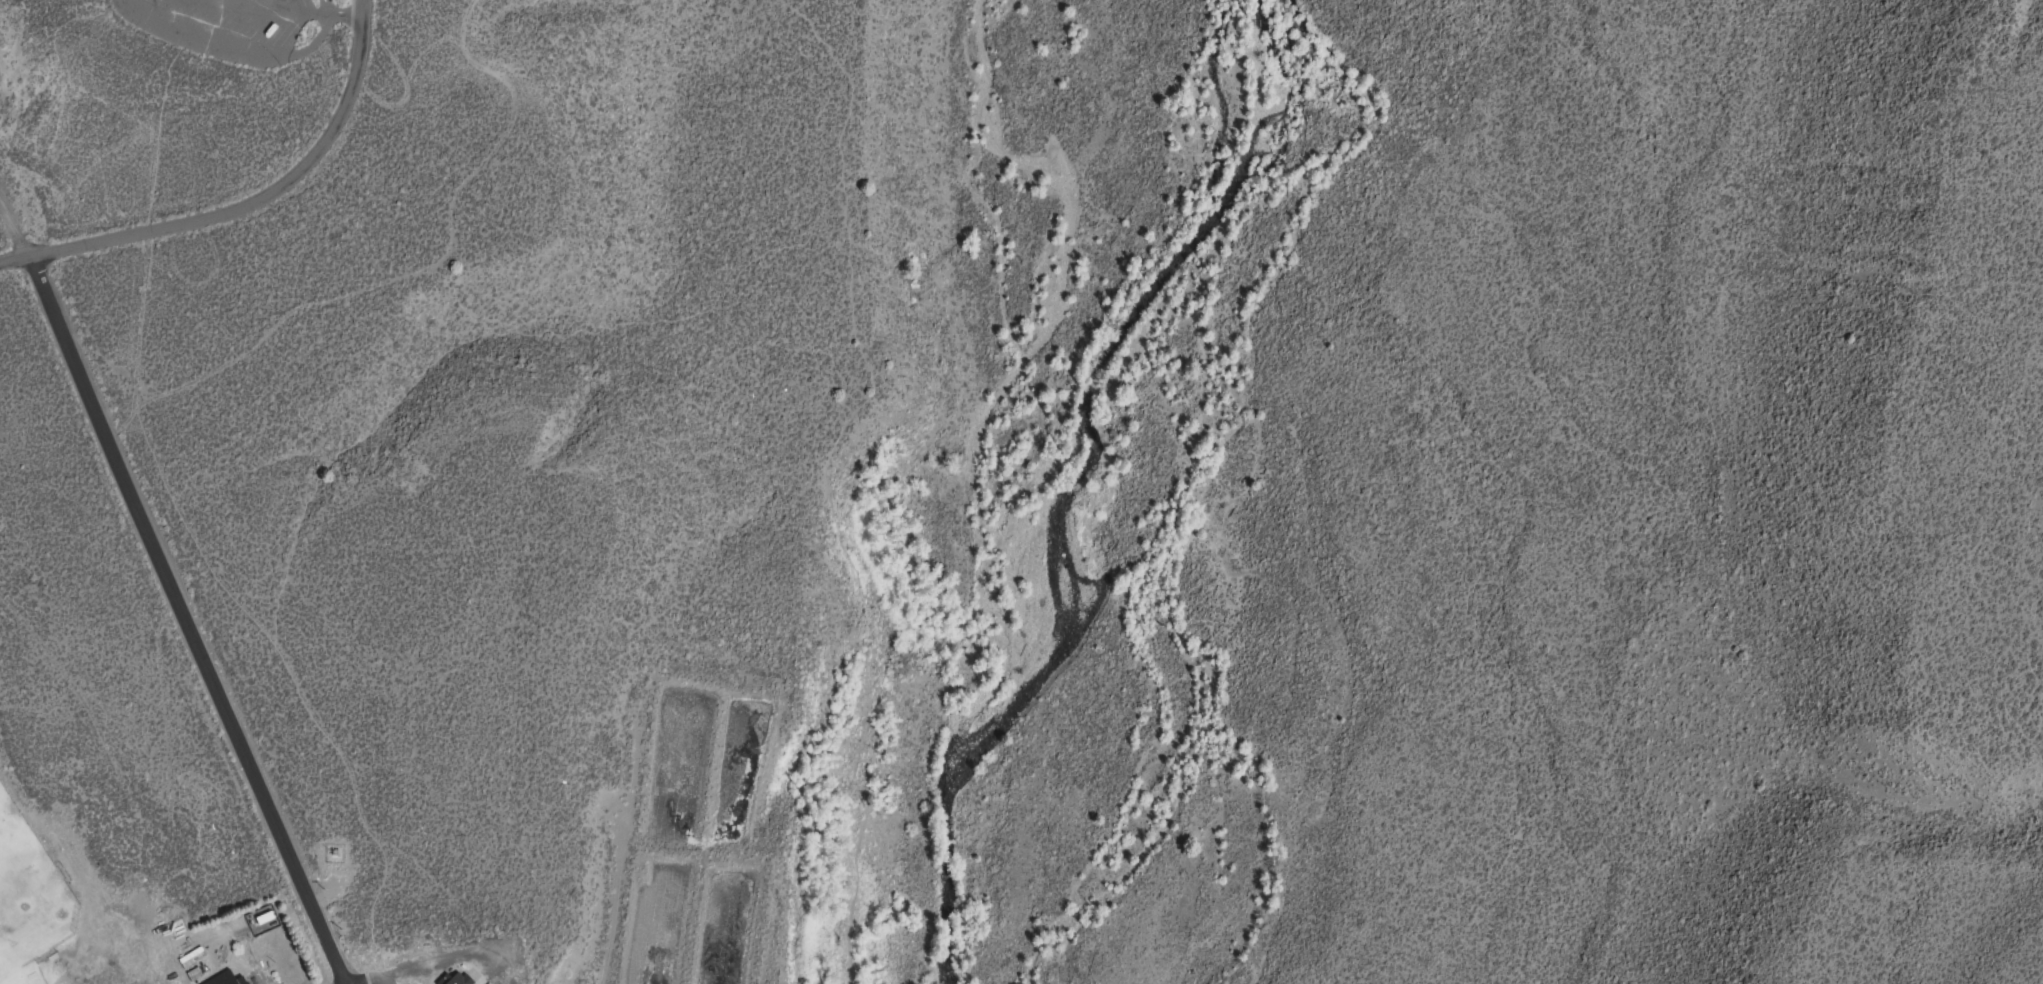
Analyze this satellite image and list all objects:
road: (323, 8)
road: (360, 8)
road: (298, 14)
parking lot: (238, 27)
road: (228, 51)
road: (235, 207)
road: (5, 222)
road: (14, 230)
road: (827, 478)
road: (179, 623)
park: (5, 842)
park: (37, 912)
road: (451, 961)
building: (230, 979)
park: (1, 981)
building: (459, 981)
building: (247, 983)

